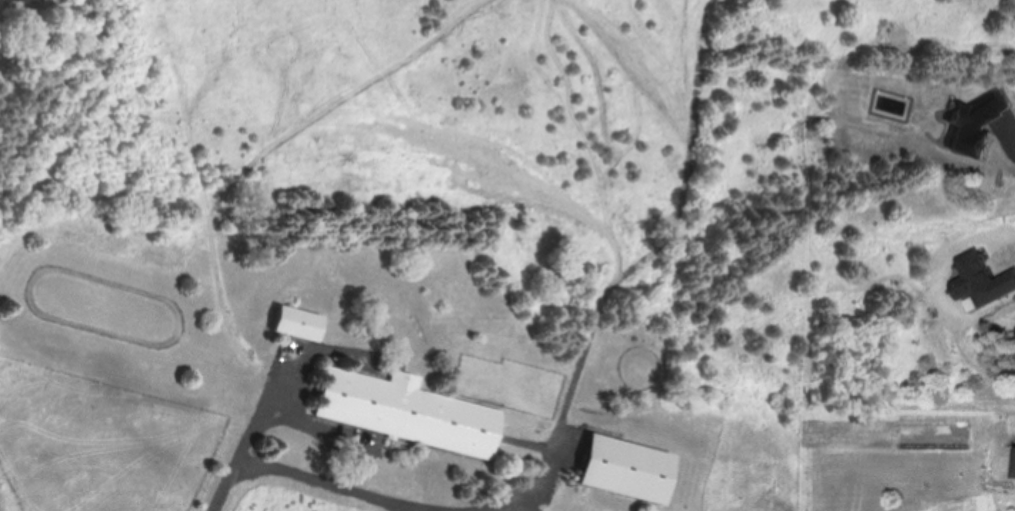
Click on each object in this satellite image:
building: (20, 0)
building: (300, 323)
road: (272, 402)
building: (406, 411)
road: (320, 427)
building: (624, 468)
road: (353, 490)

